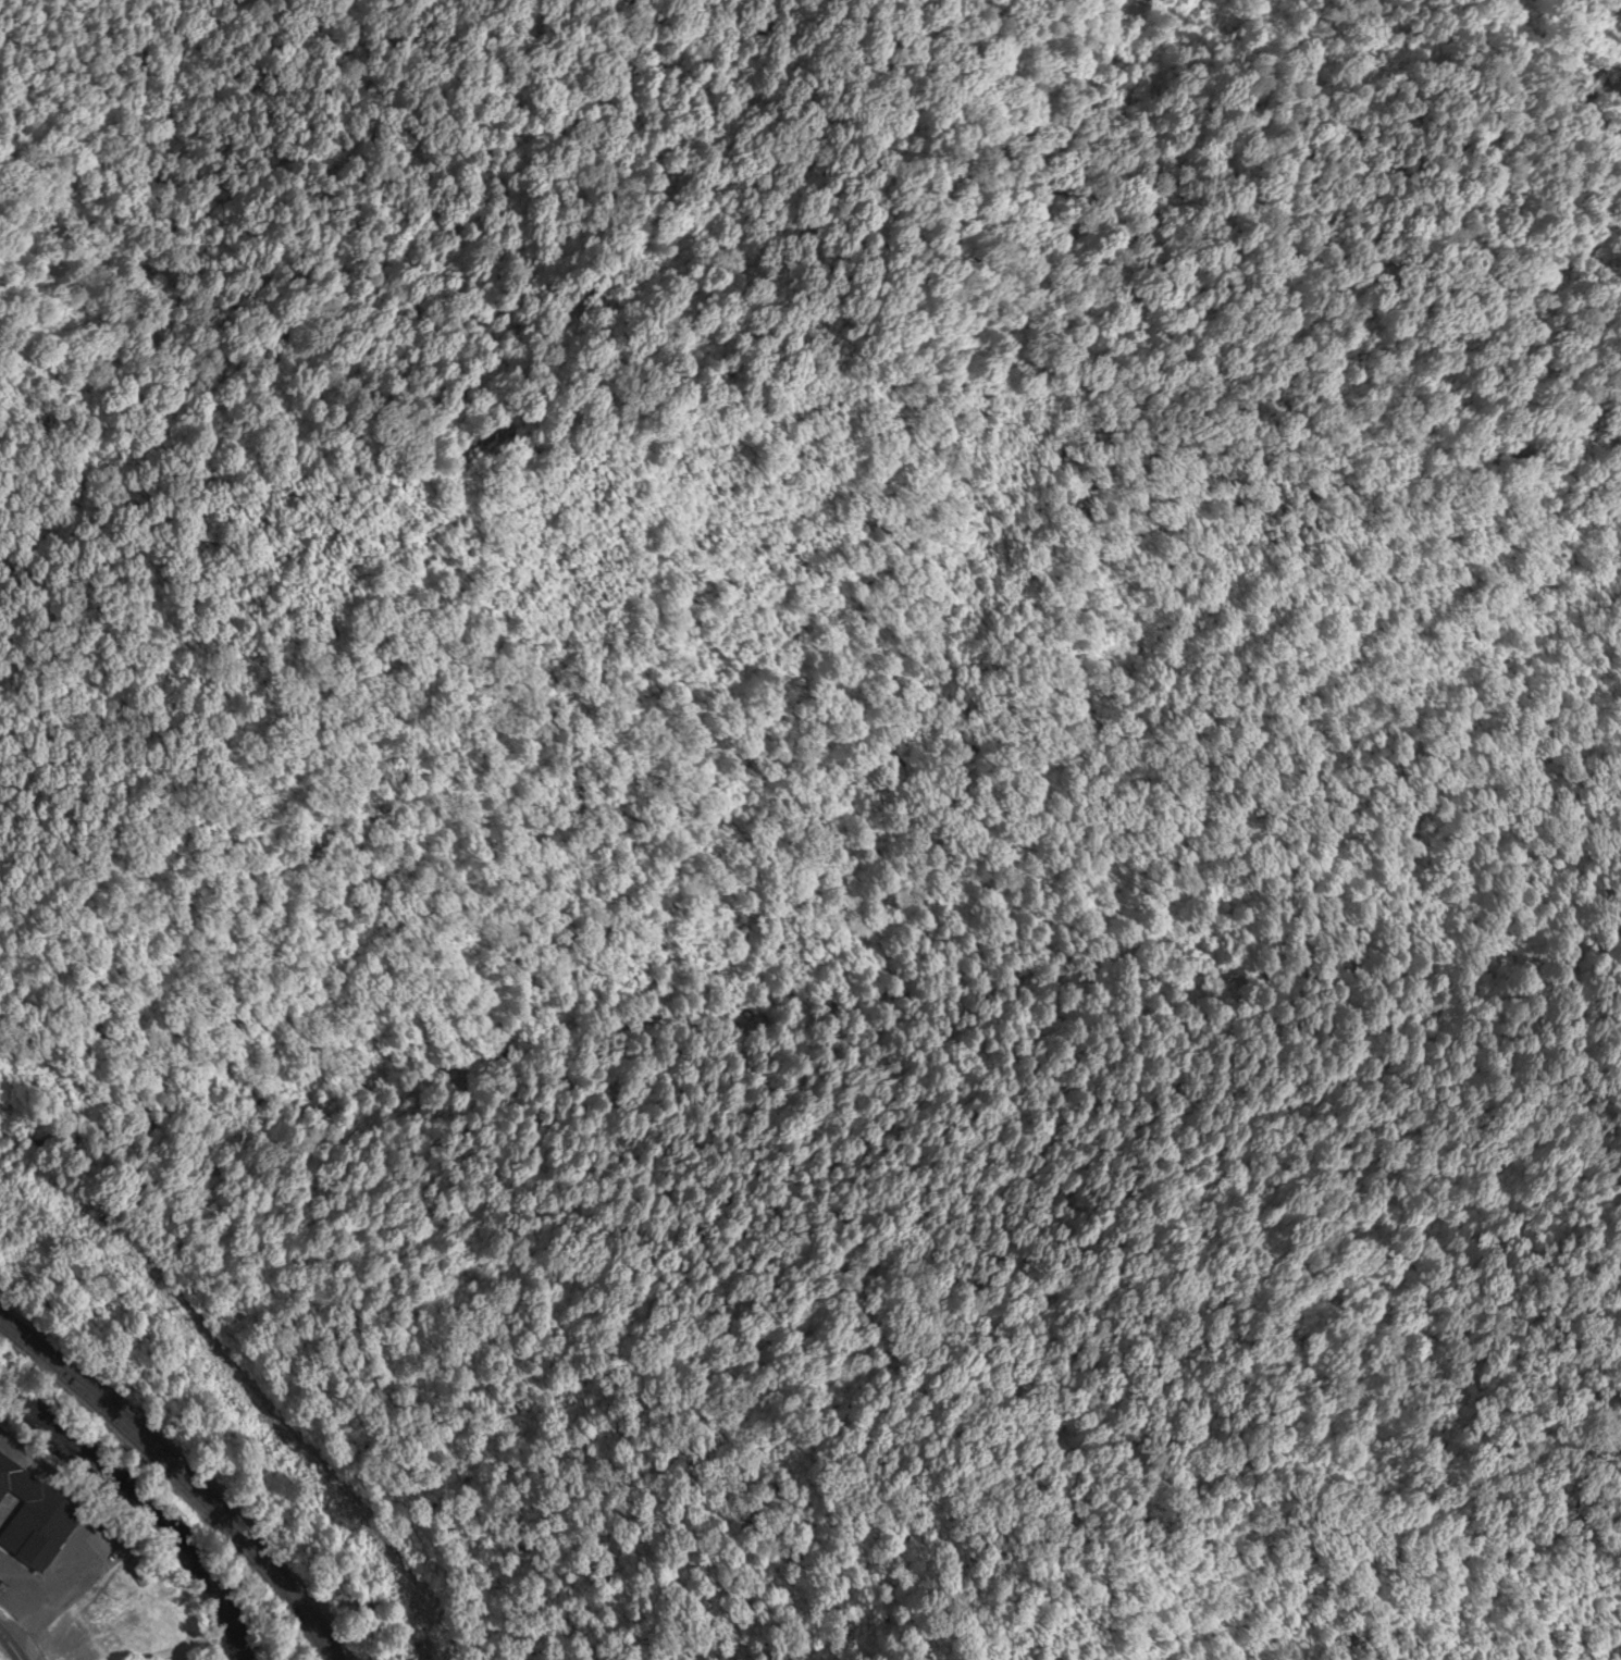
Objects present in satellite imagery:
road: (23, 1458)
railway: (181, 1475)
river: (141, 1501)
building: (35, 1519)
park: (107, 1546)
road: (23, 1589)
road: (47, 1601)
road: (12, 1644)
road: (50, 1646)

